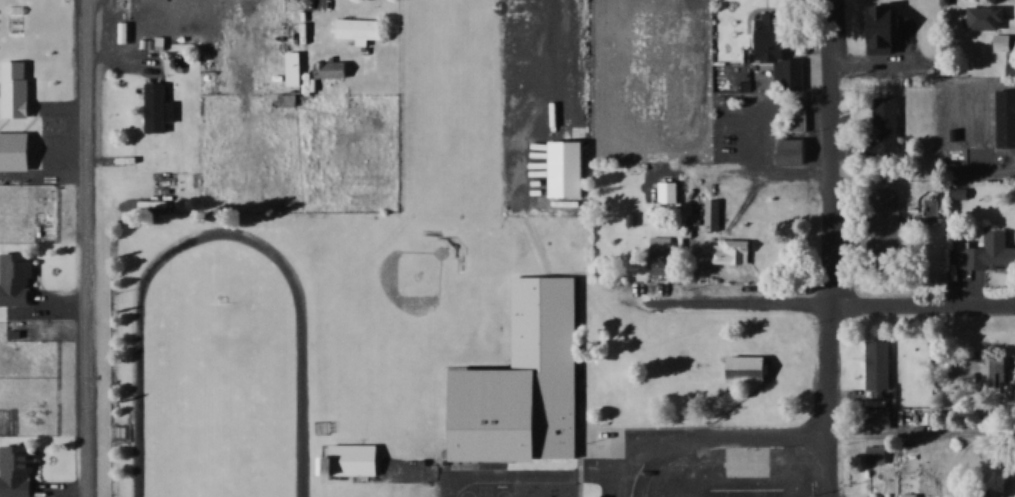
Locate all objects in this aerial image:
building: (673, 24)
building: (886, 26)
building: (361, 28)
building: (539, 33)
building: (782, 47)
building: (451, 51)
building: (492, 59)
building: (295, 67)
building: (334, 67)
parking lot: (544, 103)
park: (451, 104)
building: (156, 105)
building: (795, 114)
building: (887, 123)
building: (687, 151)
building: (782, 152)
building: (669, 192)
building: (929, 204)
building: (713, 214)
building: (890, 220)
road: (85, 248)
road: (832, 248)
building: (987, 250)
building: (732, 251)
building: (662, 255)
building: (18, 278)
park: (404, 285)
road: (828, 300)
building: (736, 368)
building: (529, 382)
park: (217, 399)
track: (302, 404)
building: (879, 417)
road: (713, 434)
building: (878, 453)
building: (352, 458)
parking lot: (704, 461)
building: (18, 469)
road: (534, 473)
building: (910, 495)

